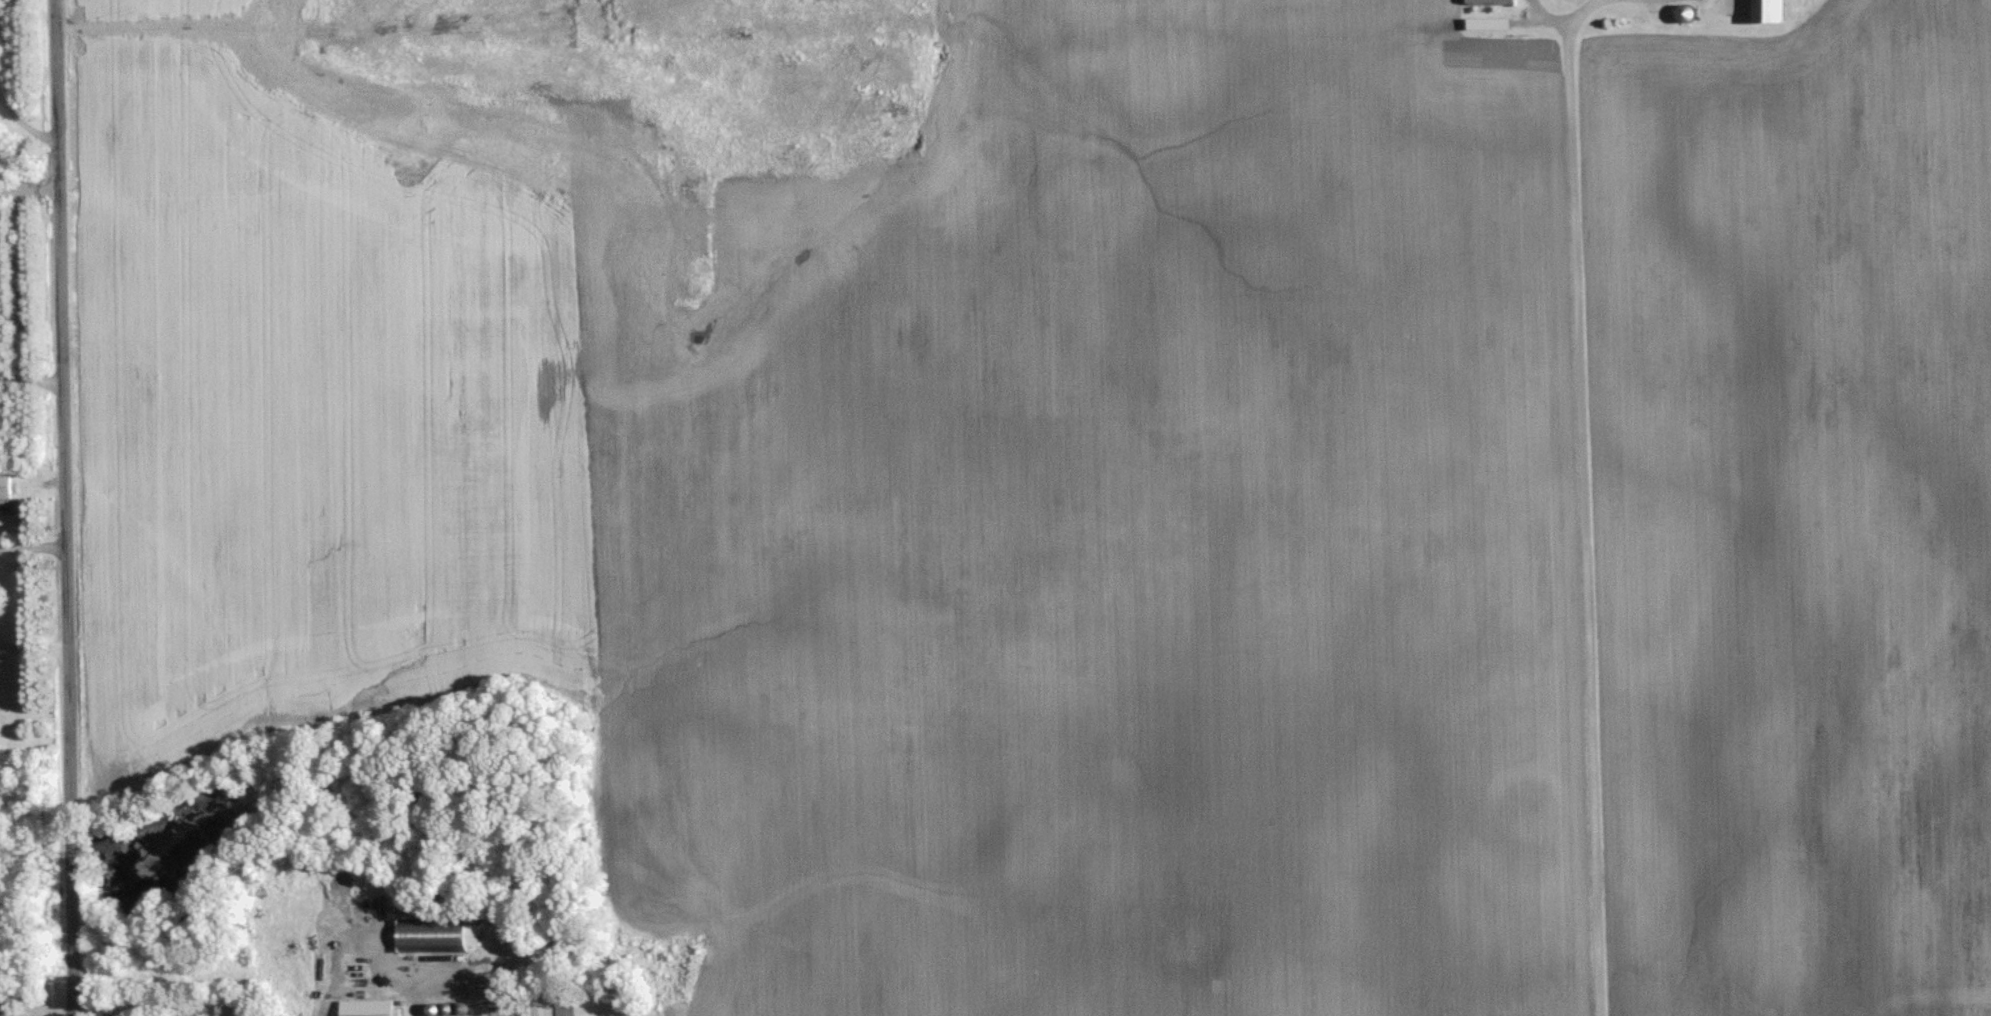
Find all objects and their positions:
building: (1496, 1)
building: (1692, 11)
building: (1493, 22)
road: (24, 125)
road: (31, 380)
building: (7, 486)
road: (64, 507)
road: (1588, 519)
road: (32, 547)
road: (396, 969)
building: (369, 1008)

